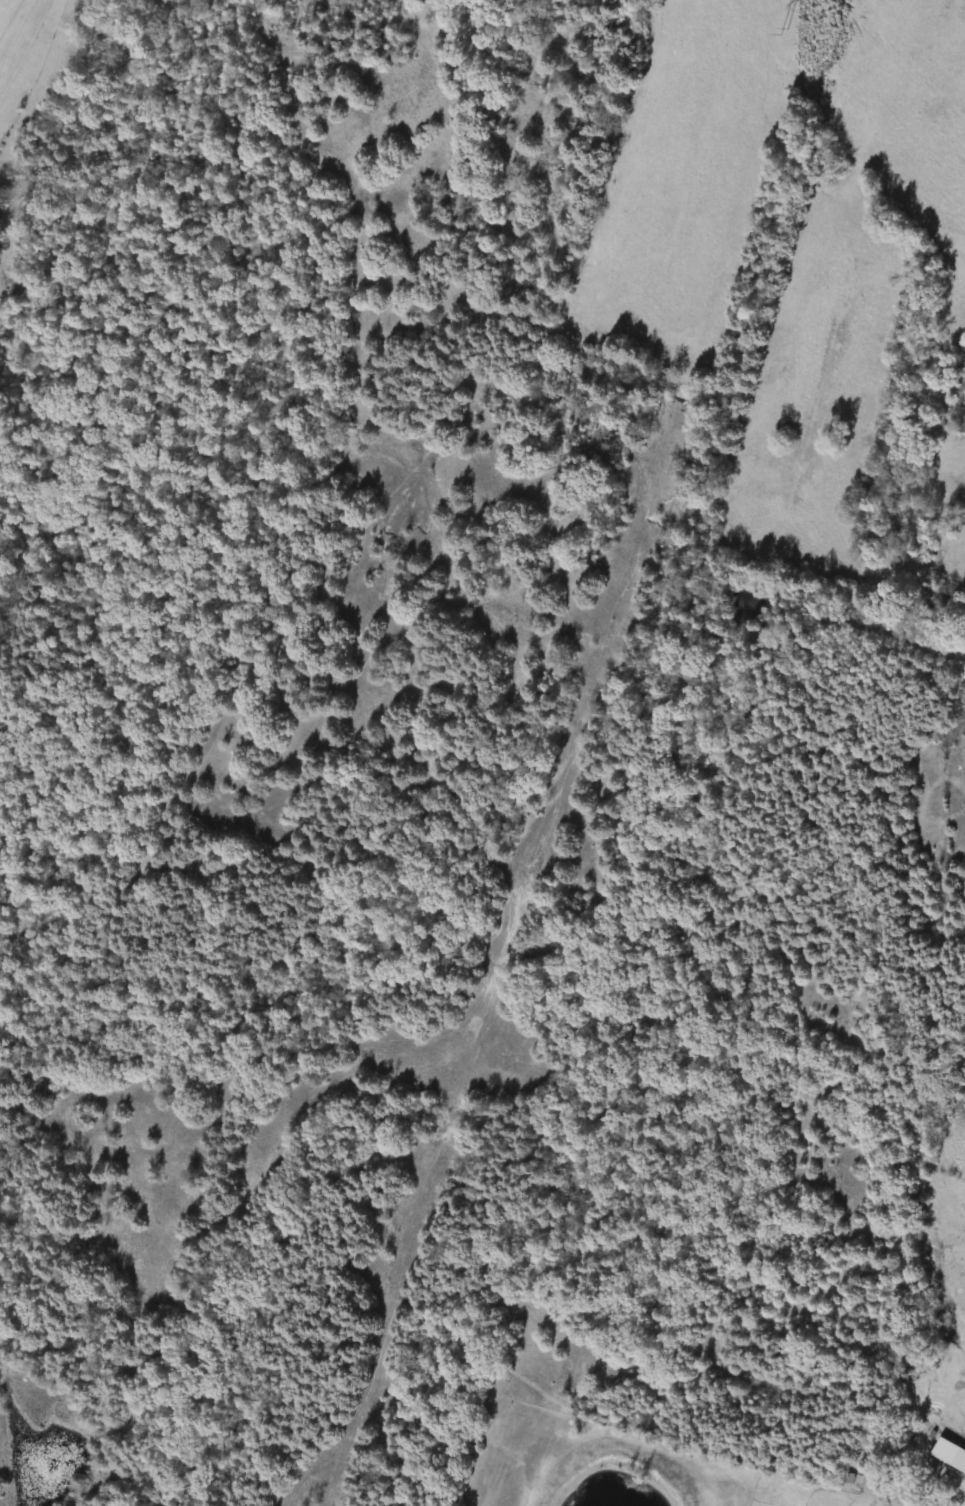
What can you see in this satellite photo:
power tower: (779, 33)
building: (951, 1453)

